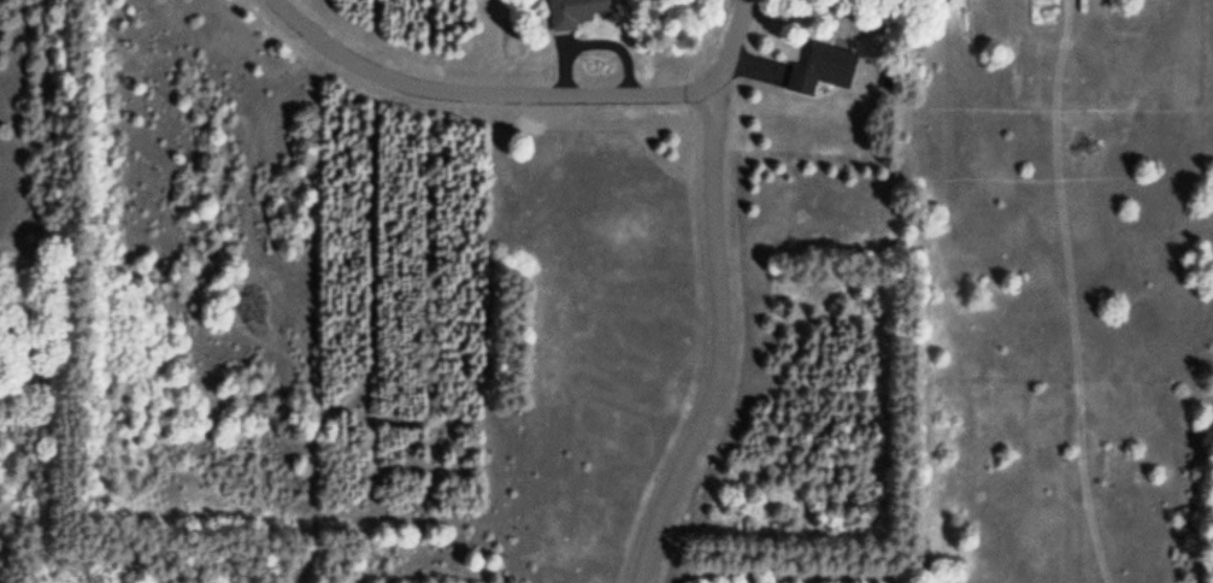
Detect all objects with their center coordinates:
building: (577, 13)
road: (732, 48)
building: (824, 70)
road: (484, 95)
road: (371, 336)
road: (722, 346)

